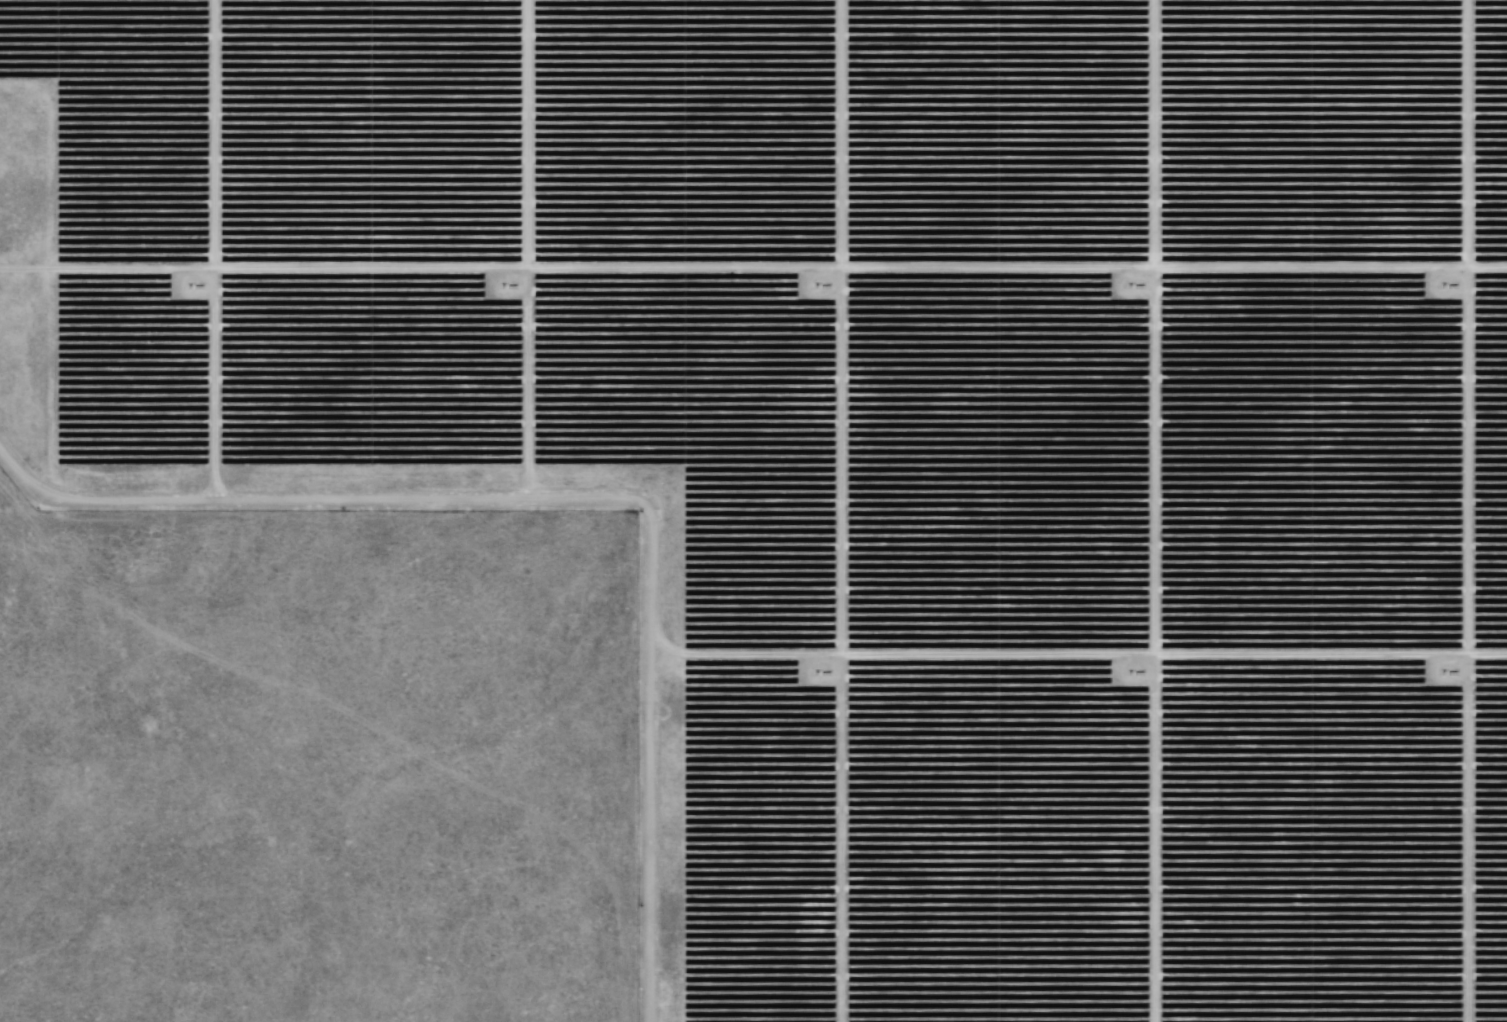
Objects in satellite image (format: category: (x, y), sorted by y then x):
solar farm: (775, 497)

